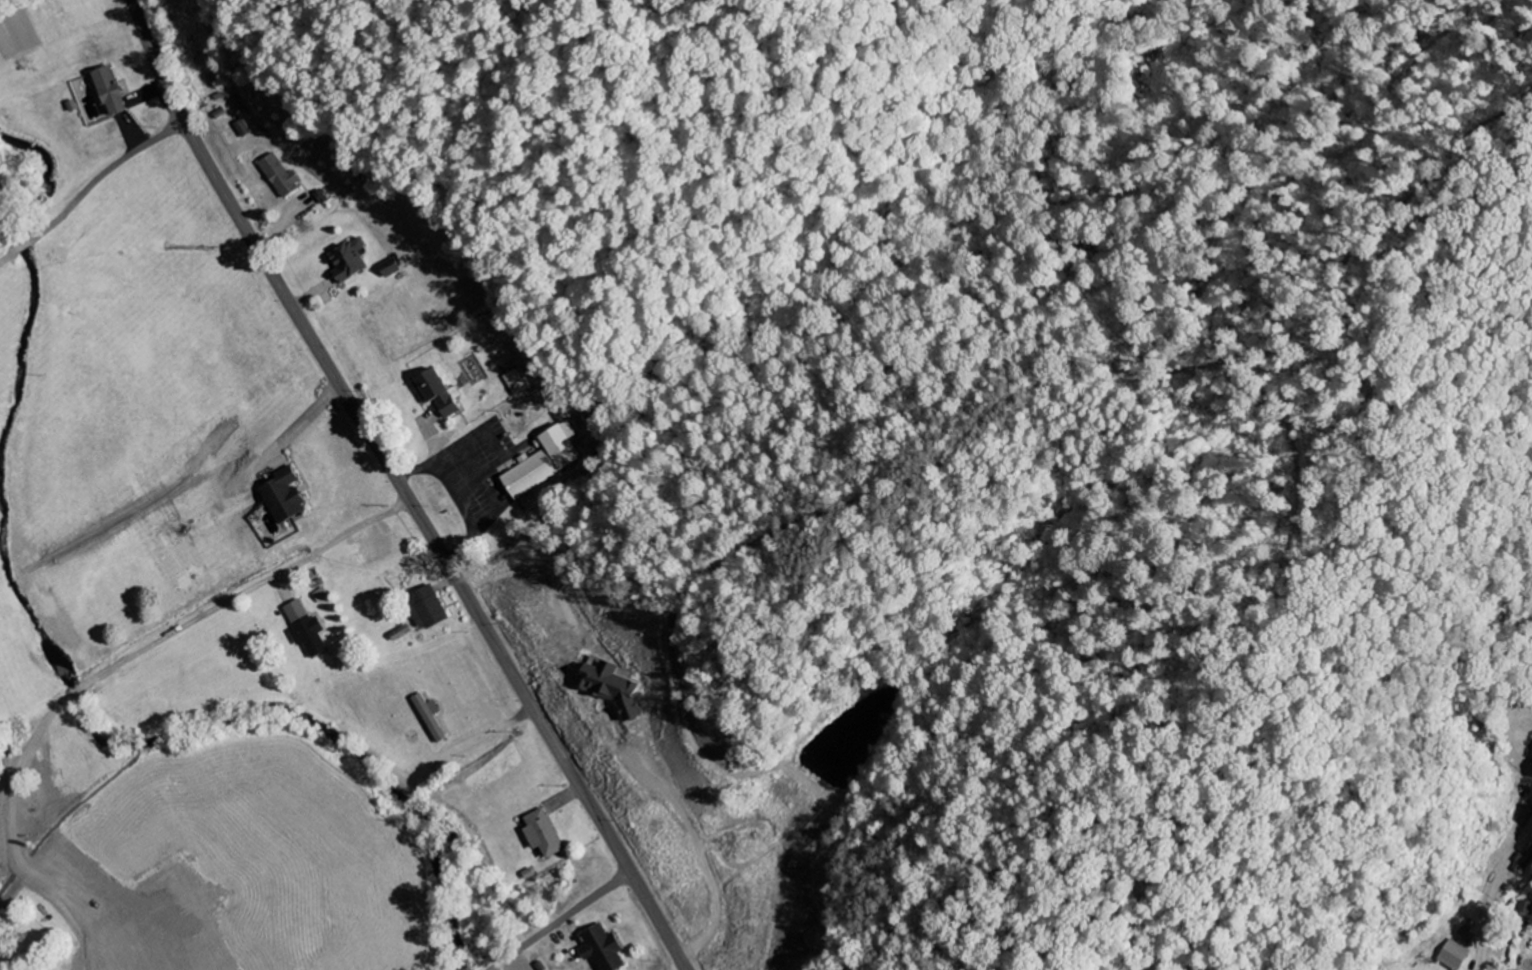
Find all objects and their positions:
building: (105, 92)
building: (240, 129)
road: (112, 166)
building: (276, 177)
road: (34, 238)
road: (8, 257)
building: (344, 261)
building: (385, 269)
building: (434, 393)
road: (402, 488)
building: (279, 495)
building: (423, 608)
road: (195, 620)
building: (303, 630)
river: (66, 676)
building: (606, 688)
building: (427, 718)
building: (540, 835)
building: (1523, 908)
road: (562, 920)
building: (599, 949)
building: (1451, 956)

